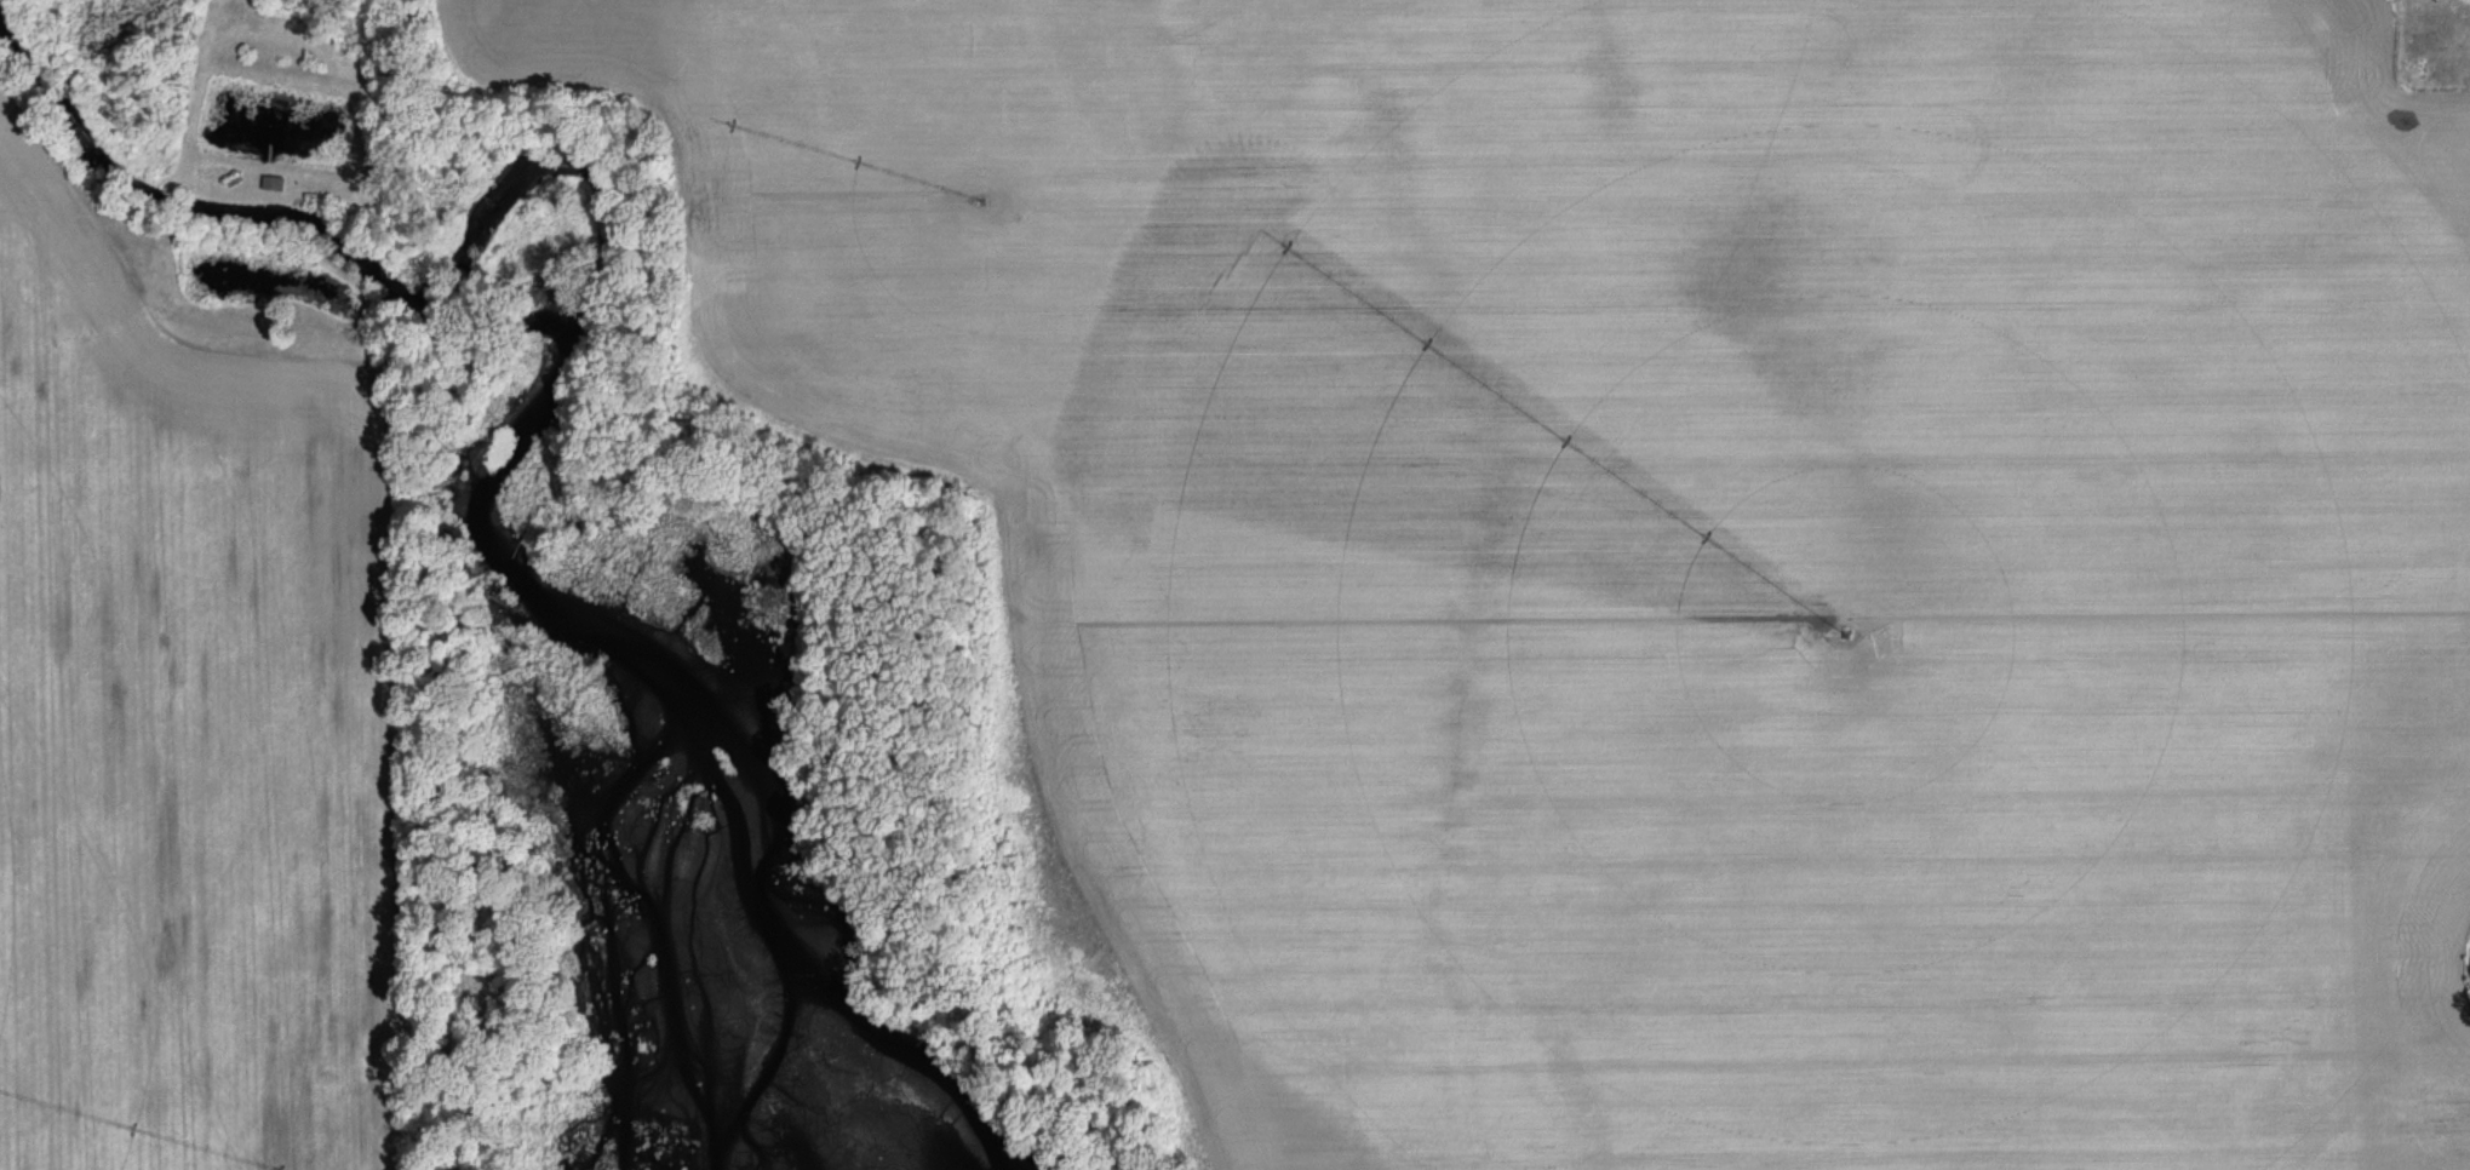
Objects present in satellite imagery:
building: (267, 185)

